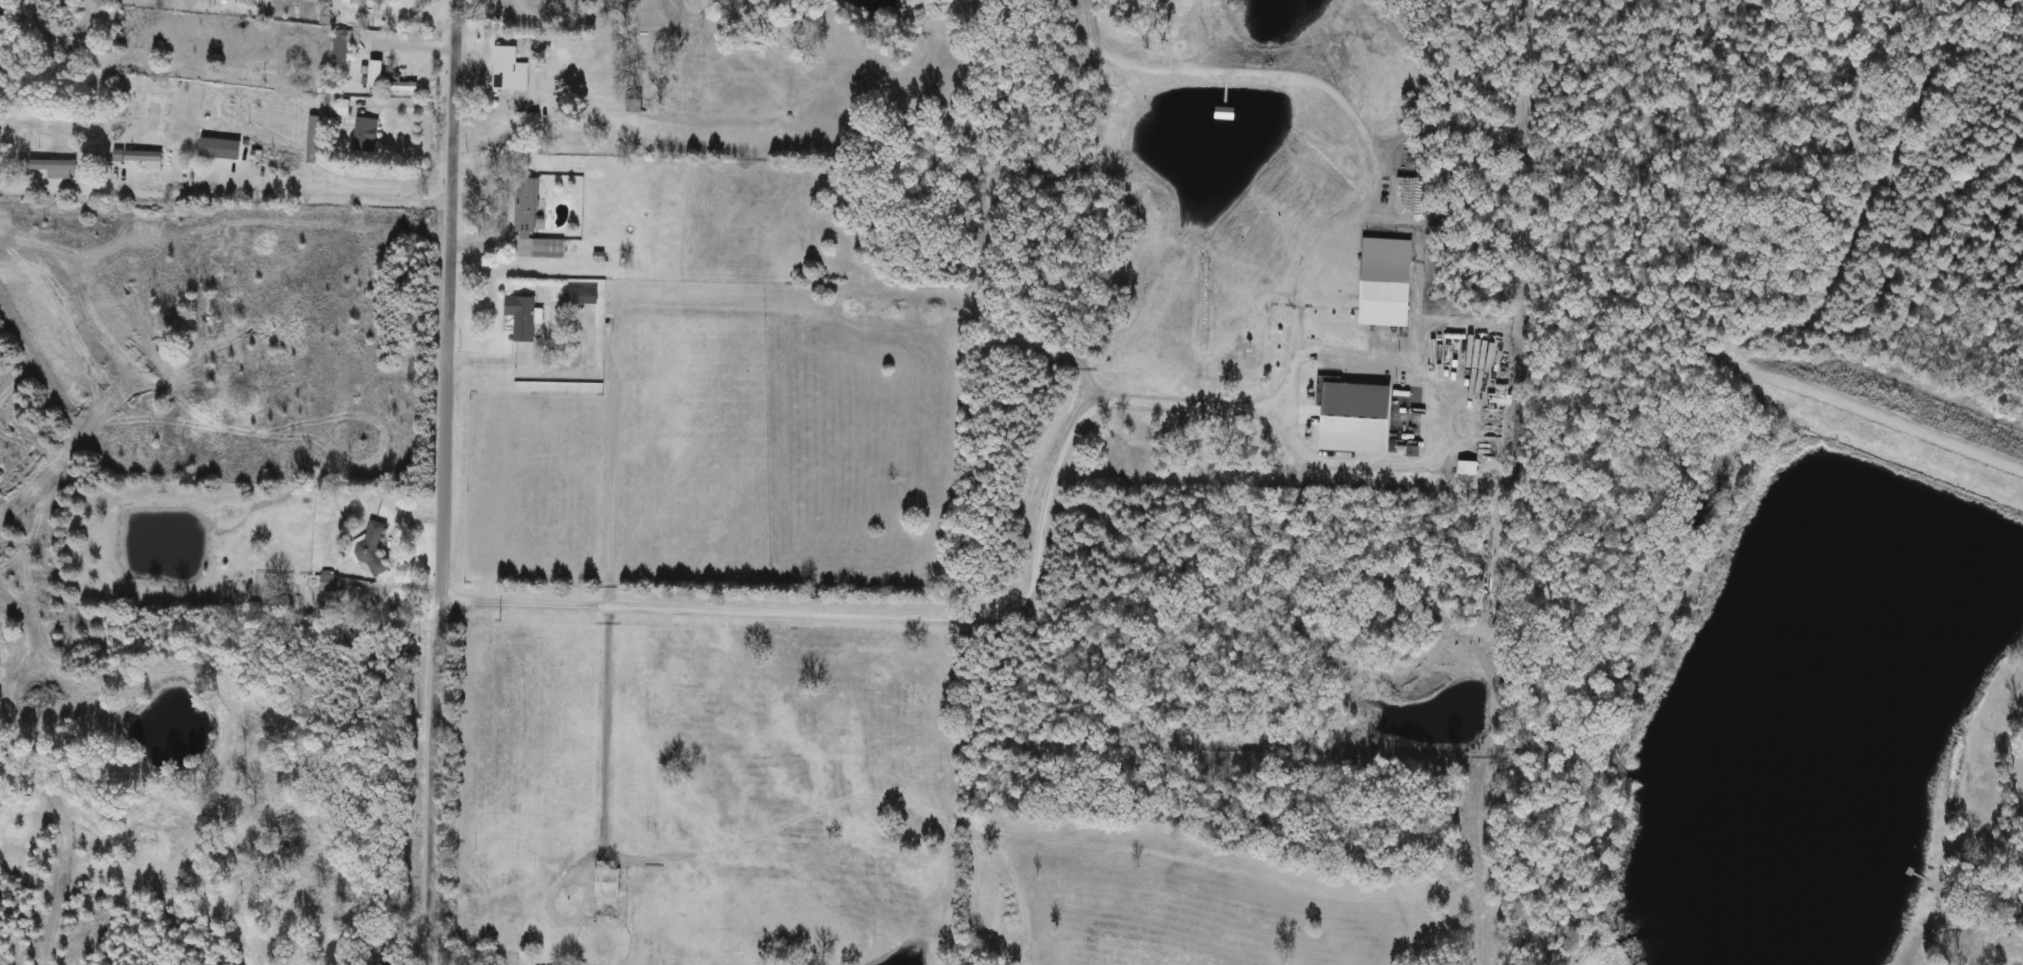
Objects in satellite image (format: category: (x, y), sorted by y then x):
building: (368, 1)
building: (344, 43)
road: (411, 48)
building: (510, 69)
building: (378, 72)
building: (405, 86)
building: (342, 107)
building: (366, 135)
building: (0, 152)
building: (219, 152)
building: (141, 158)
building: (287, 160)
building: (56, 168)
road: (234, 196)
building: (527, 209)
building: (550, 249)
building: (578, 296)
building: (523, 316)
building: (1364, 354)
building: (1410, 395)
road: (612, 405)
road: (445, 482)
road: (944, 613)
building: (939, 803)
building: (608, 883)

